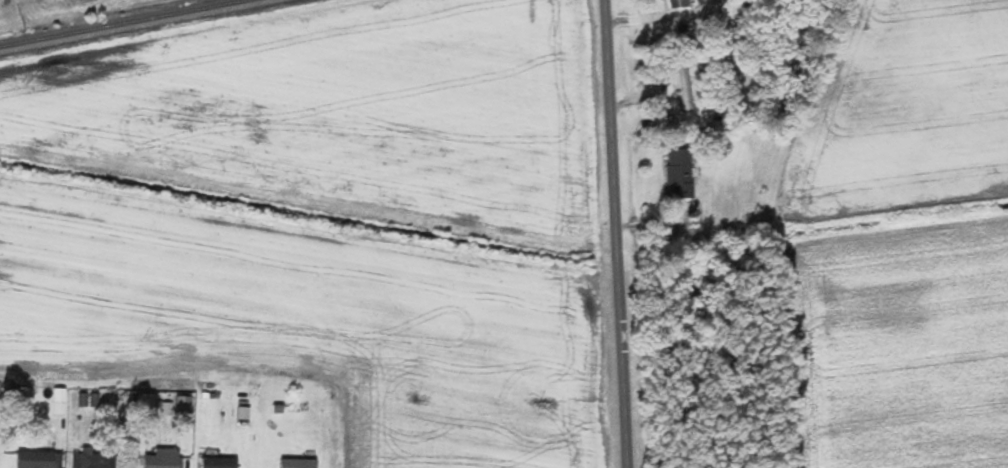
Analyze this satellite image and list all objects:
building: (677, 4)
railway: (124, 23)
building: (684, 87)
building: (679, 172)
road: (613, 234)
building: (58, 404)
building: (182, 406)
building: (163, 458)
building: (38, 459)
building: (92, 460)
building: (218, 463)
building: (297, 463)

